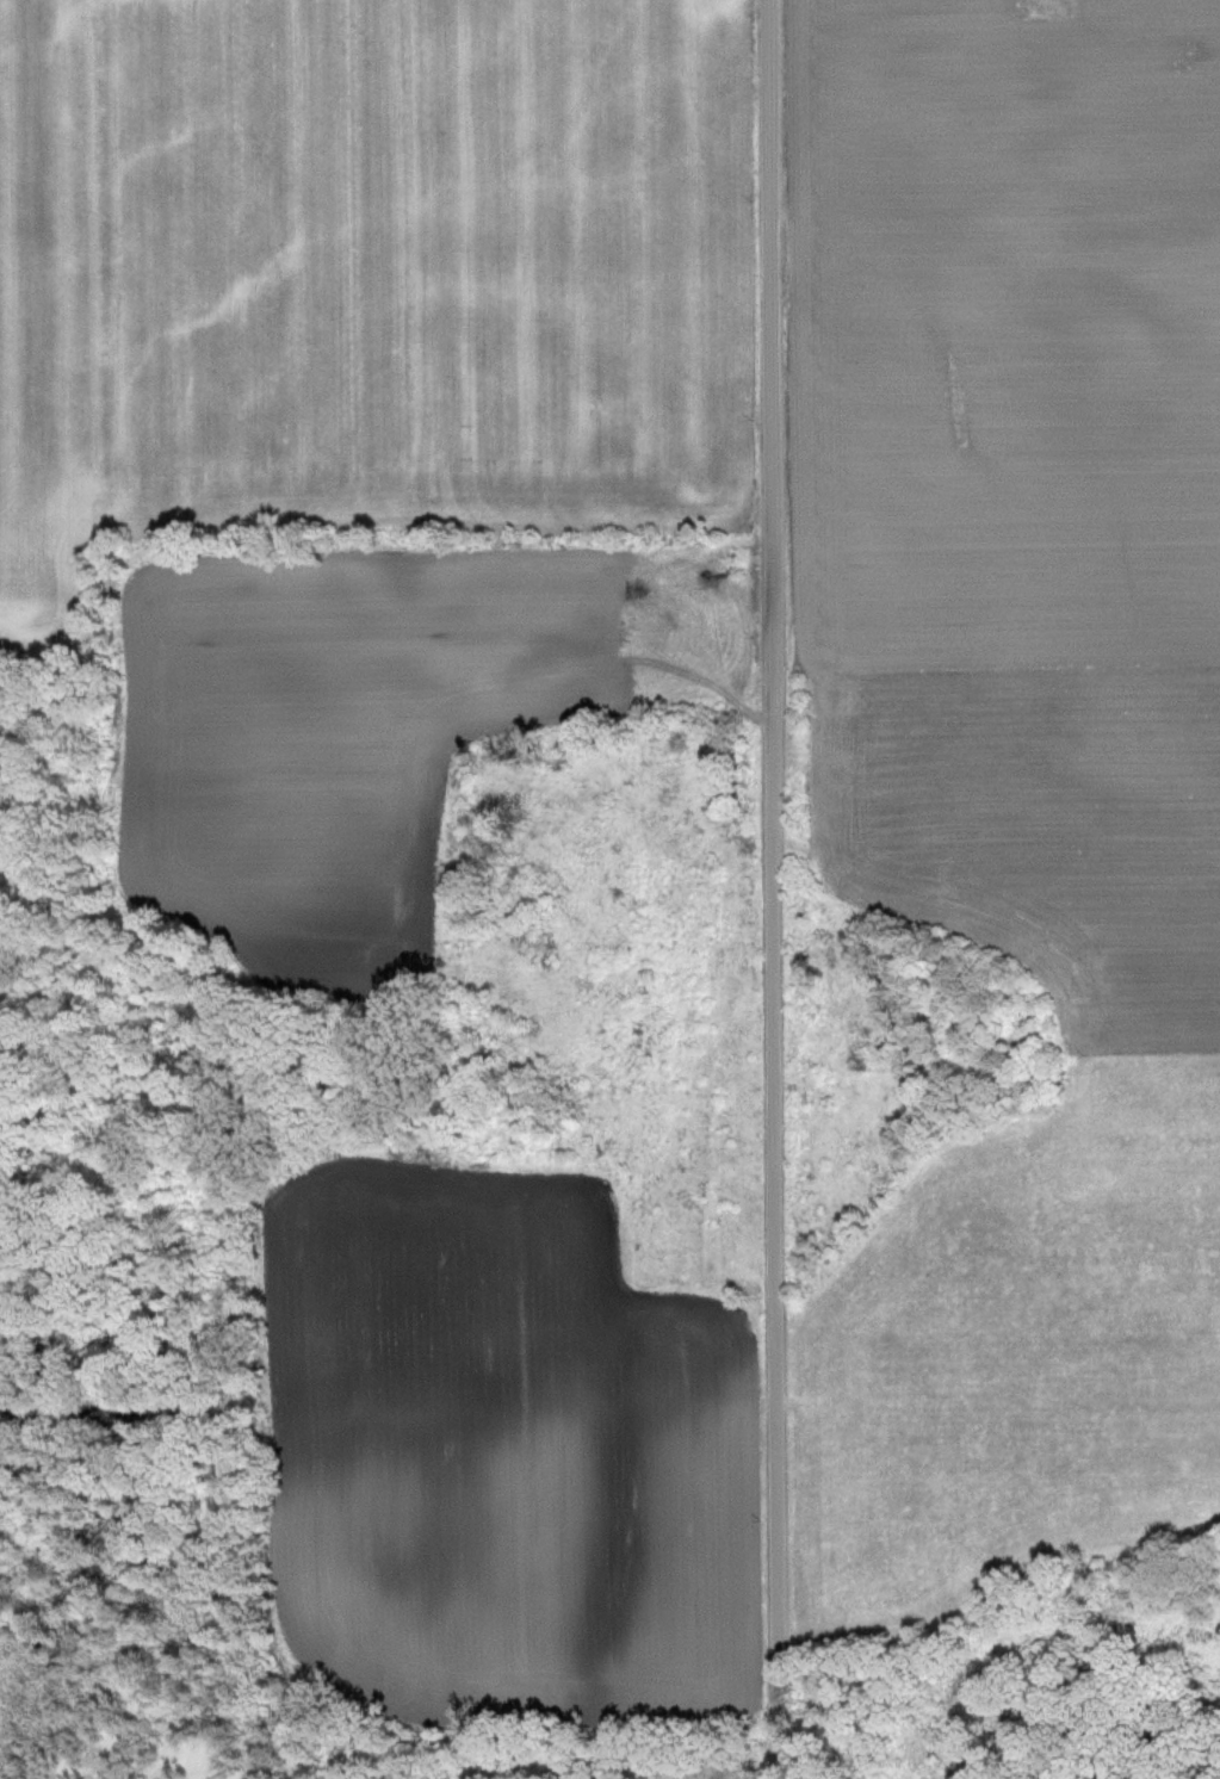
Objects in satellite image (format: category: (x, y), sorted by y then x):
road: (773, 888)

